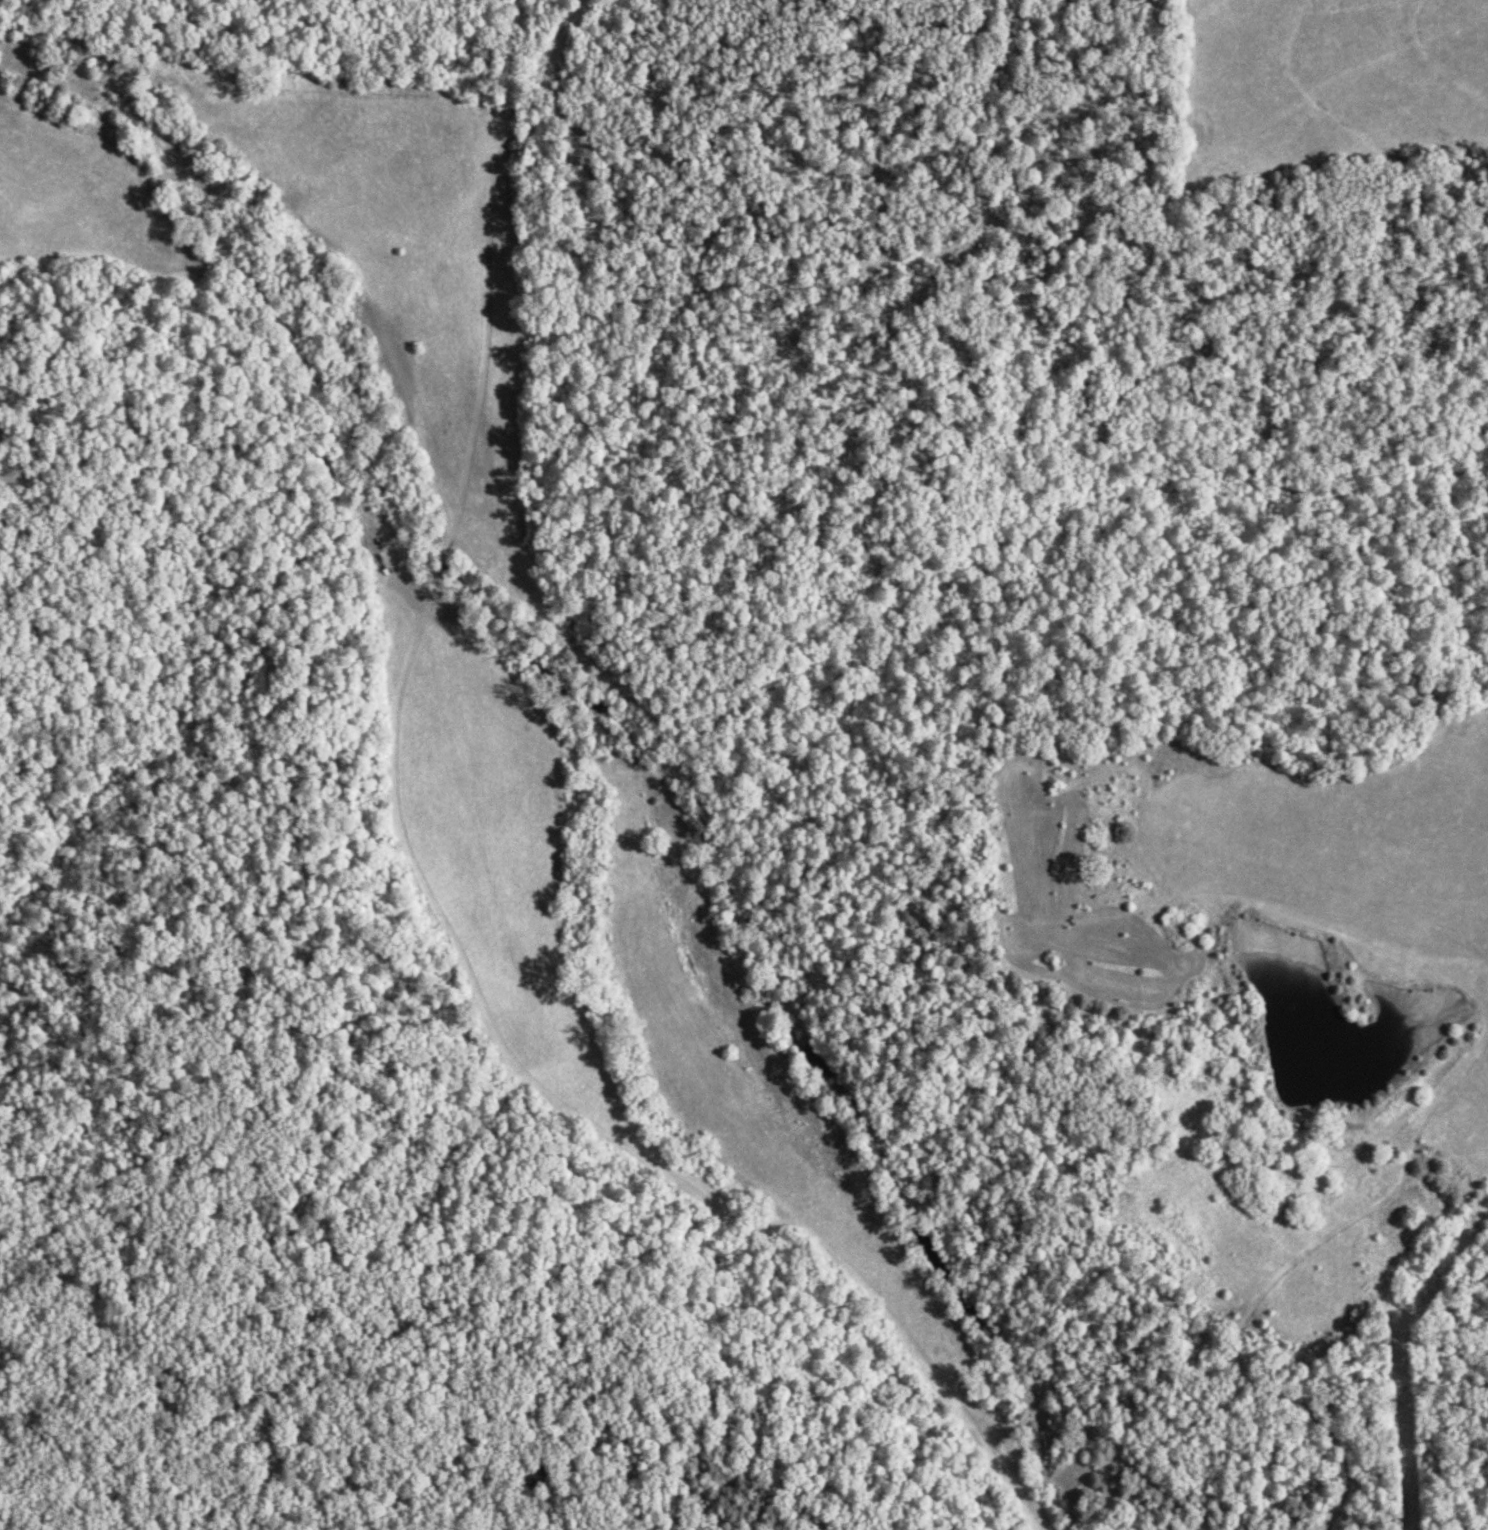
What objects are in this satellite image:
road: (1382, 1205)

